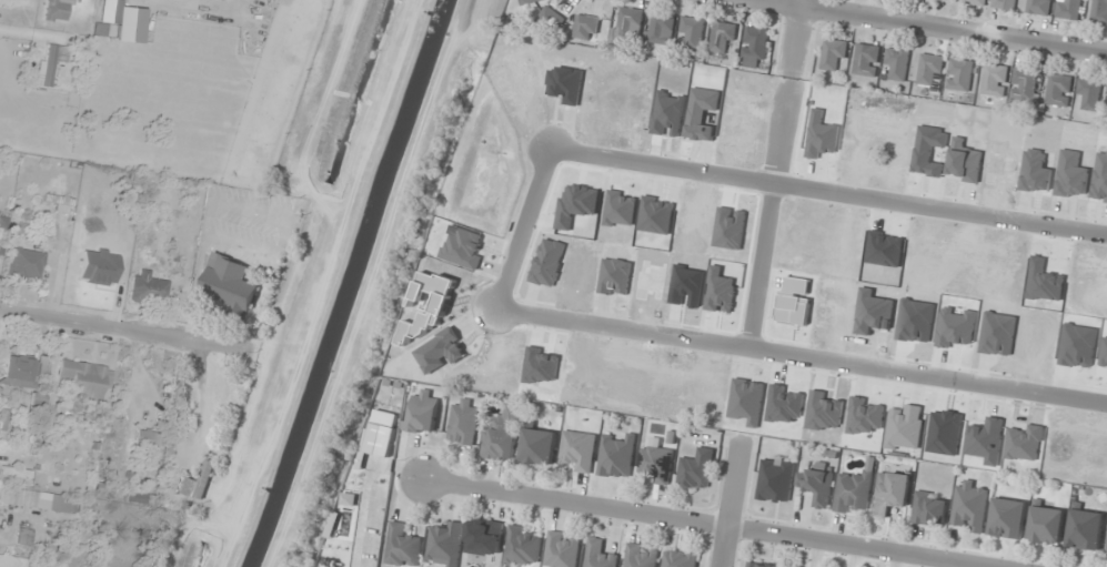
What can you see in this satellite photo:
building: (529, 1)
building: (976, 1)
building: (1005, 4)
building: (1039, 7)
building: (1068, 9)
building: (57, 11)
building: (1099, 11)
building: (630, 22)
building: (586, 27)
road: (935, 27)
building: (661, 28)
building: (692, 32)
building: (723, 38)
road: (29, 39)
building: (755, 47)
building: (835, 54)
building: (867, 60)
building: (50, 63)
building: (896, 63)
building: (930, 71)
building: (960, 74)
building: (995, 80)
building: (1024, 87)
building: (1058, 90)
building: (1089, 94)
road: (774, 173)
road: (515, 253)
building: (26, 265)
building: (229, 283)
building: (148, 288)
road: (85, 325)
building: (19, 372)
building: (84, 379)
building: (423, 413)
building: (463, 423)
building: (504, 432)
building: (147, 441)
building: (539, 446)
building: (578, 450)
building: (617, 457)
building: (656, 462)
building: (696, 468)
building: (16, 473)
building: (776, 480)
building: (199, 483)
building: (817, 485)
building: (853, 492)
building: (892, 492)
building: (139, 496)
road: (728, 499)
building: (38, 500)
building: (969, 506)
building: (929, 509)
building: (1008, 518)
road: (700, 525)
building: (1046, 525)
building: (1085, 528)
building: (24, 537)
building: (485, 537)
building: (445, 544)
building: (403, 547)
building: (523, 547)
building: (1106, 548)
building: (562, 549)
building: (600, 555)
building: (642, 555)
building: (680, 558)
building: (31, 565)
building: (761, 565)

